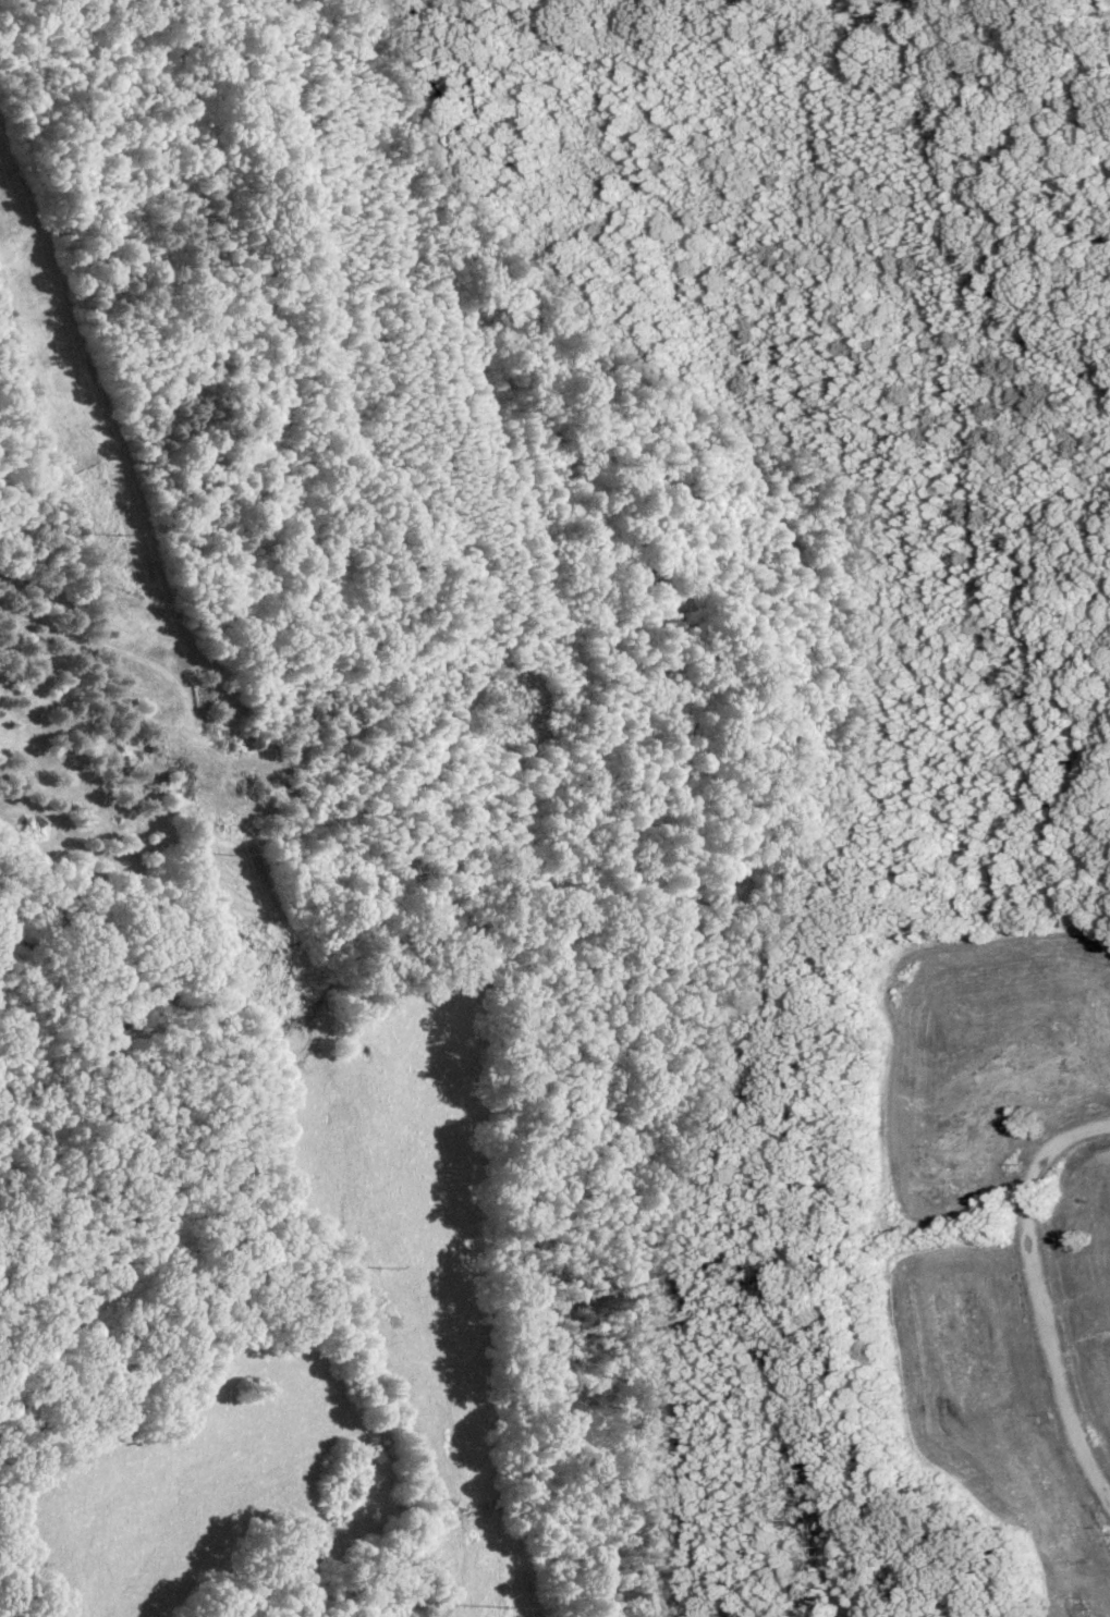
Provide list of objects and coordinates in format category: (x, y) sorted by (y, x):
road: (1042, 1296)

